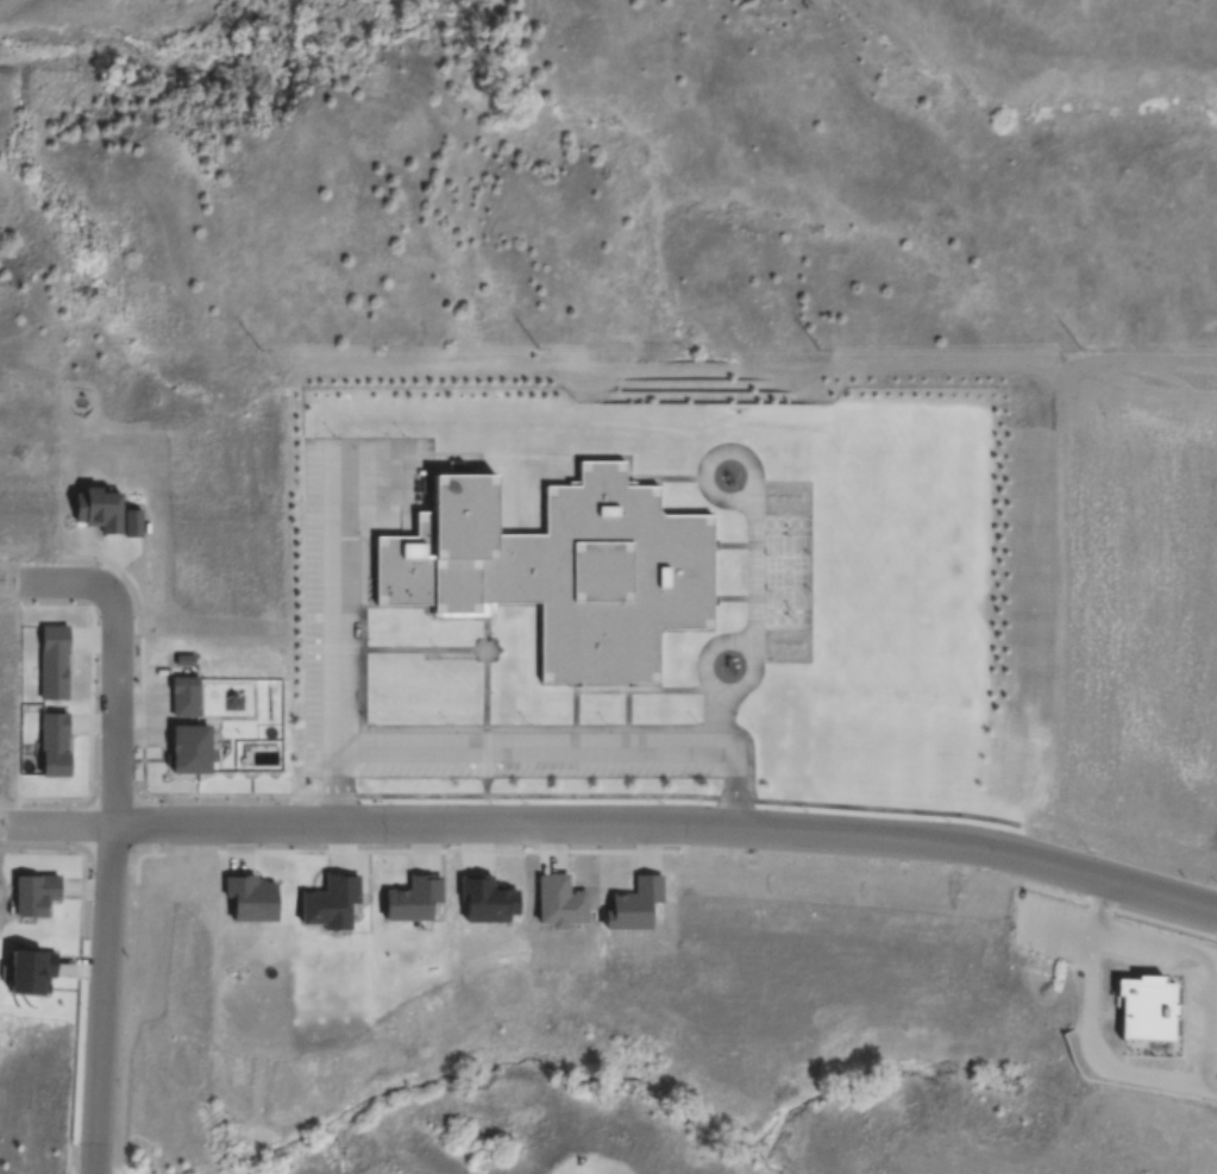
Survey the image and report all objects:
building: (101, 511)
building: (134, 523)
road: (754, 558)
building: (564, 573)
park: (785, 580)
parking lot: (322, 617)
road: (337, 633)
road: (414, 655)
road: (708, 657)
building: (51, 665)
road: (490, 678)
road: (669, 684)
building: (184, 699)
road: (638, 717)
road: (579, 721)
building: (52, 745)
building: (192, 749)
road: (531, 751)
parking lot: (547, 755)
road: (617, 824)
road: (106, 837)
building: (36, 896)
building: (413, 899)
building: (251, 902)
building: (331, 903)
building: (633, 908)
building: (29, 972)
building: (1150, 1009)

